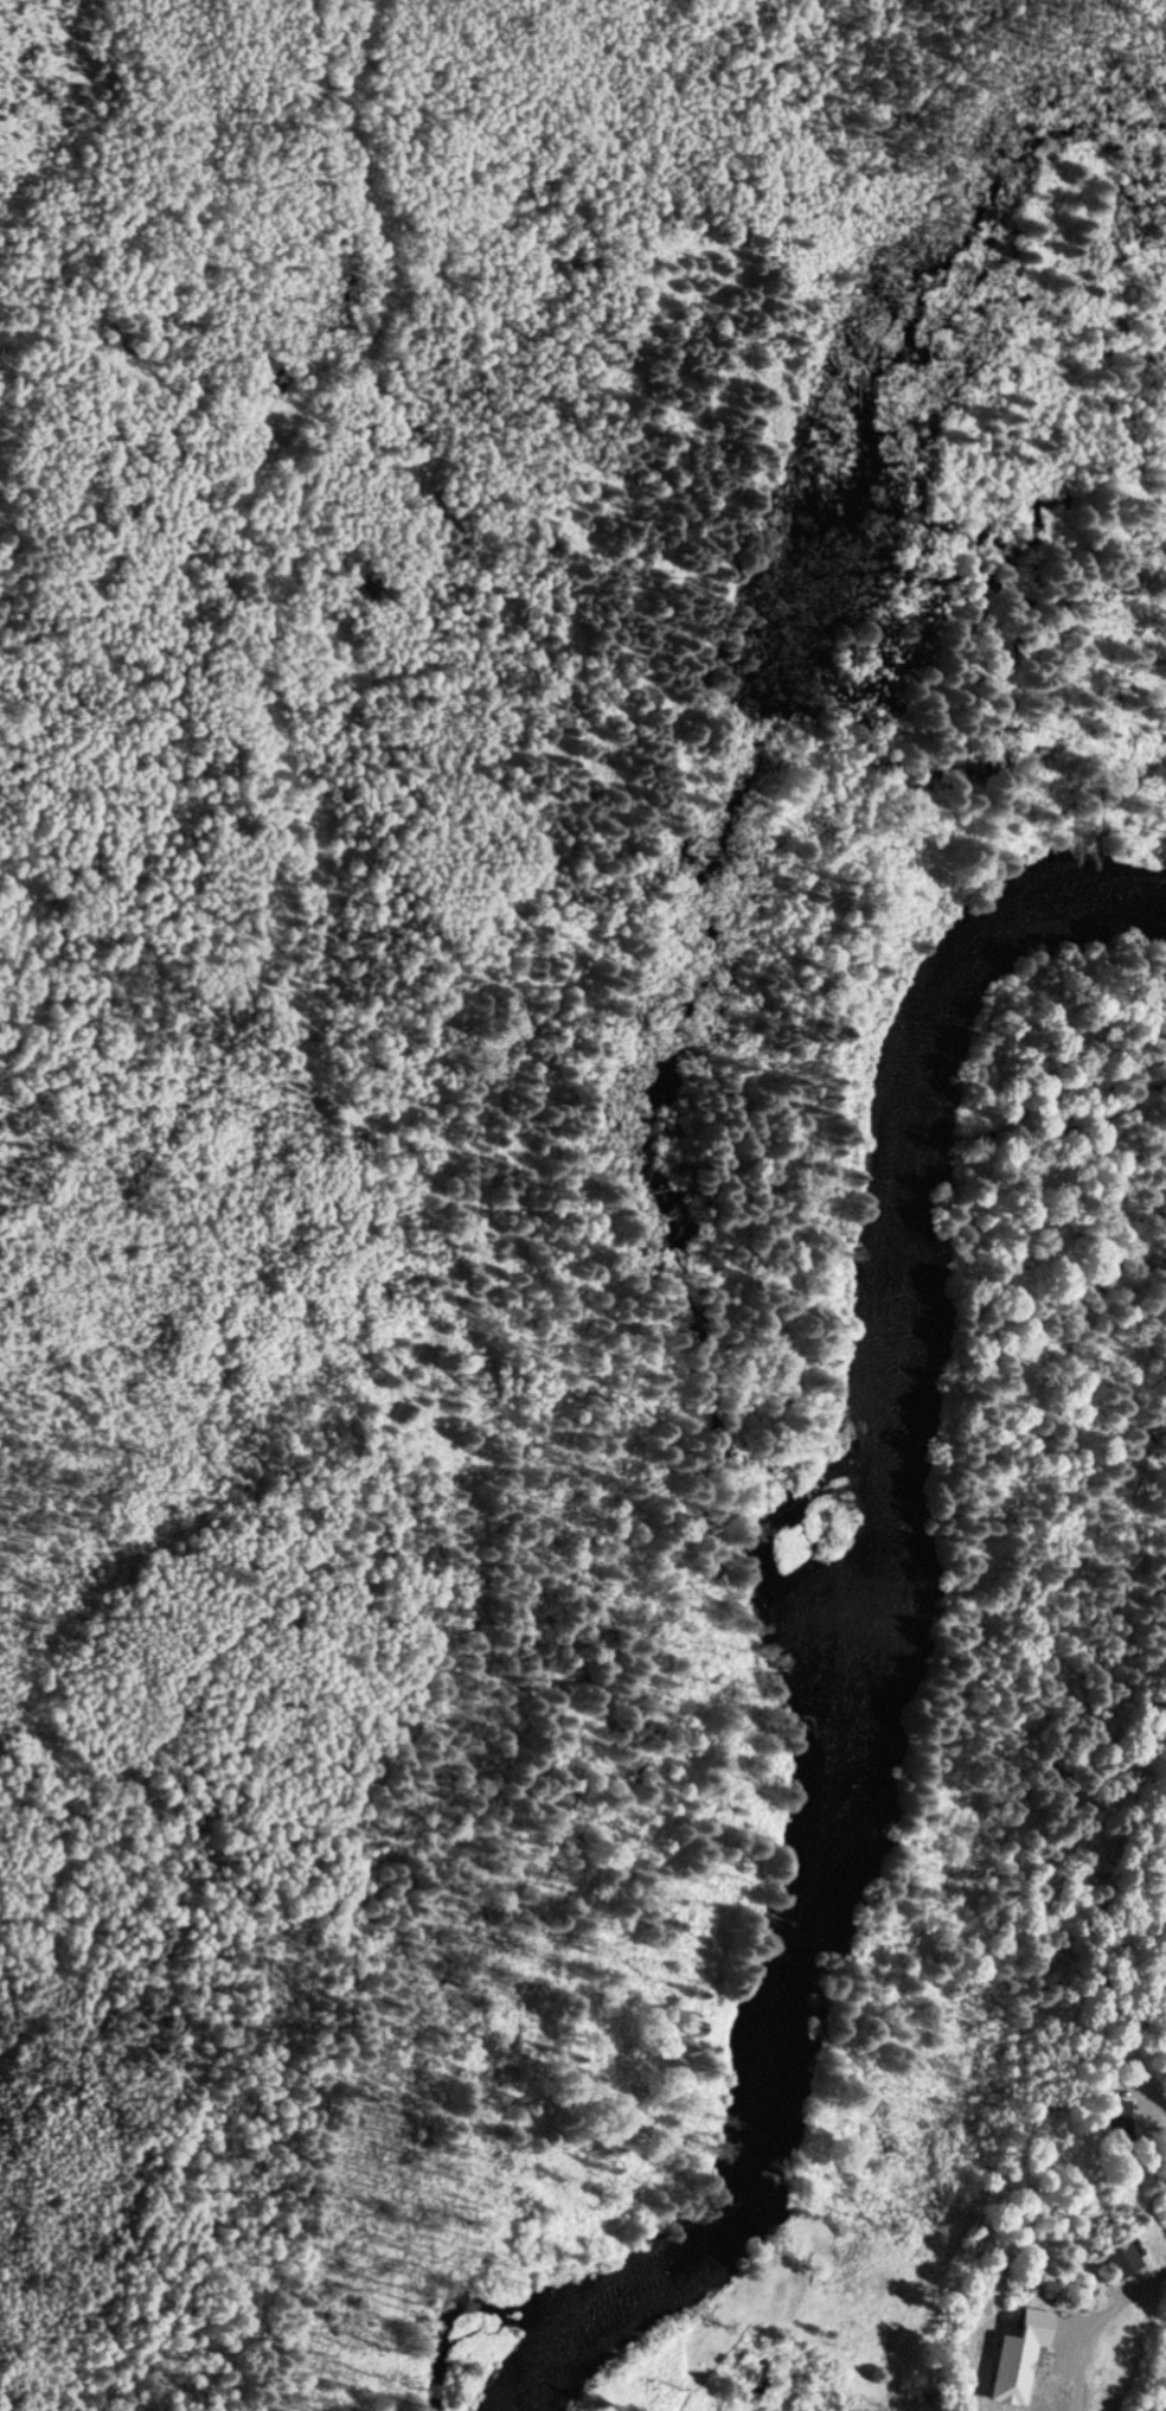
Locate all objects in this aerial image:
river: (916, 1160)
river: (847, 1542)
river: (776, 2059)
building: (1126, 2263)
building: (1019, 2339)

